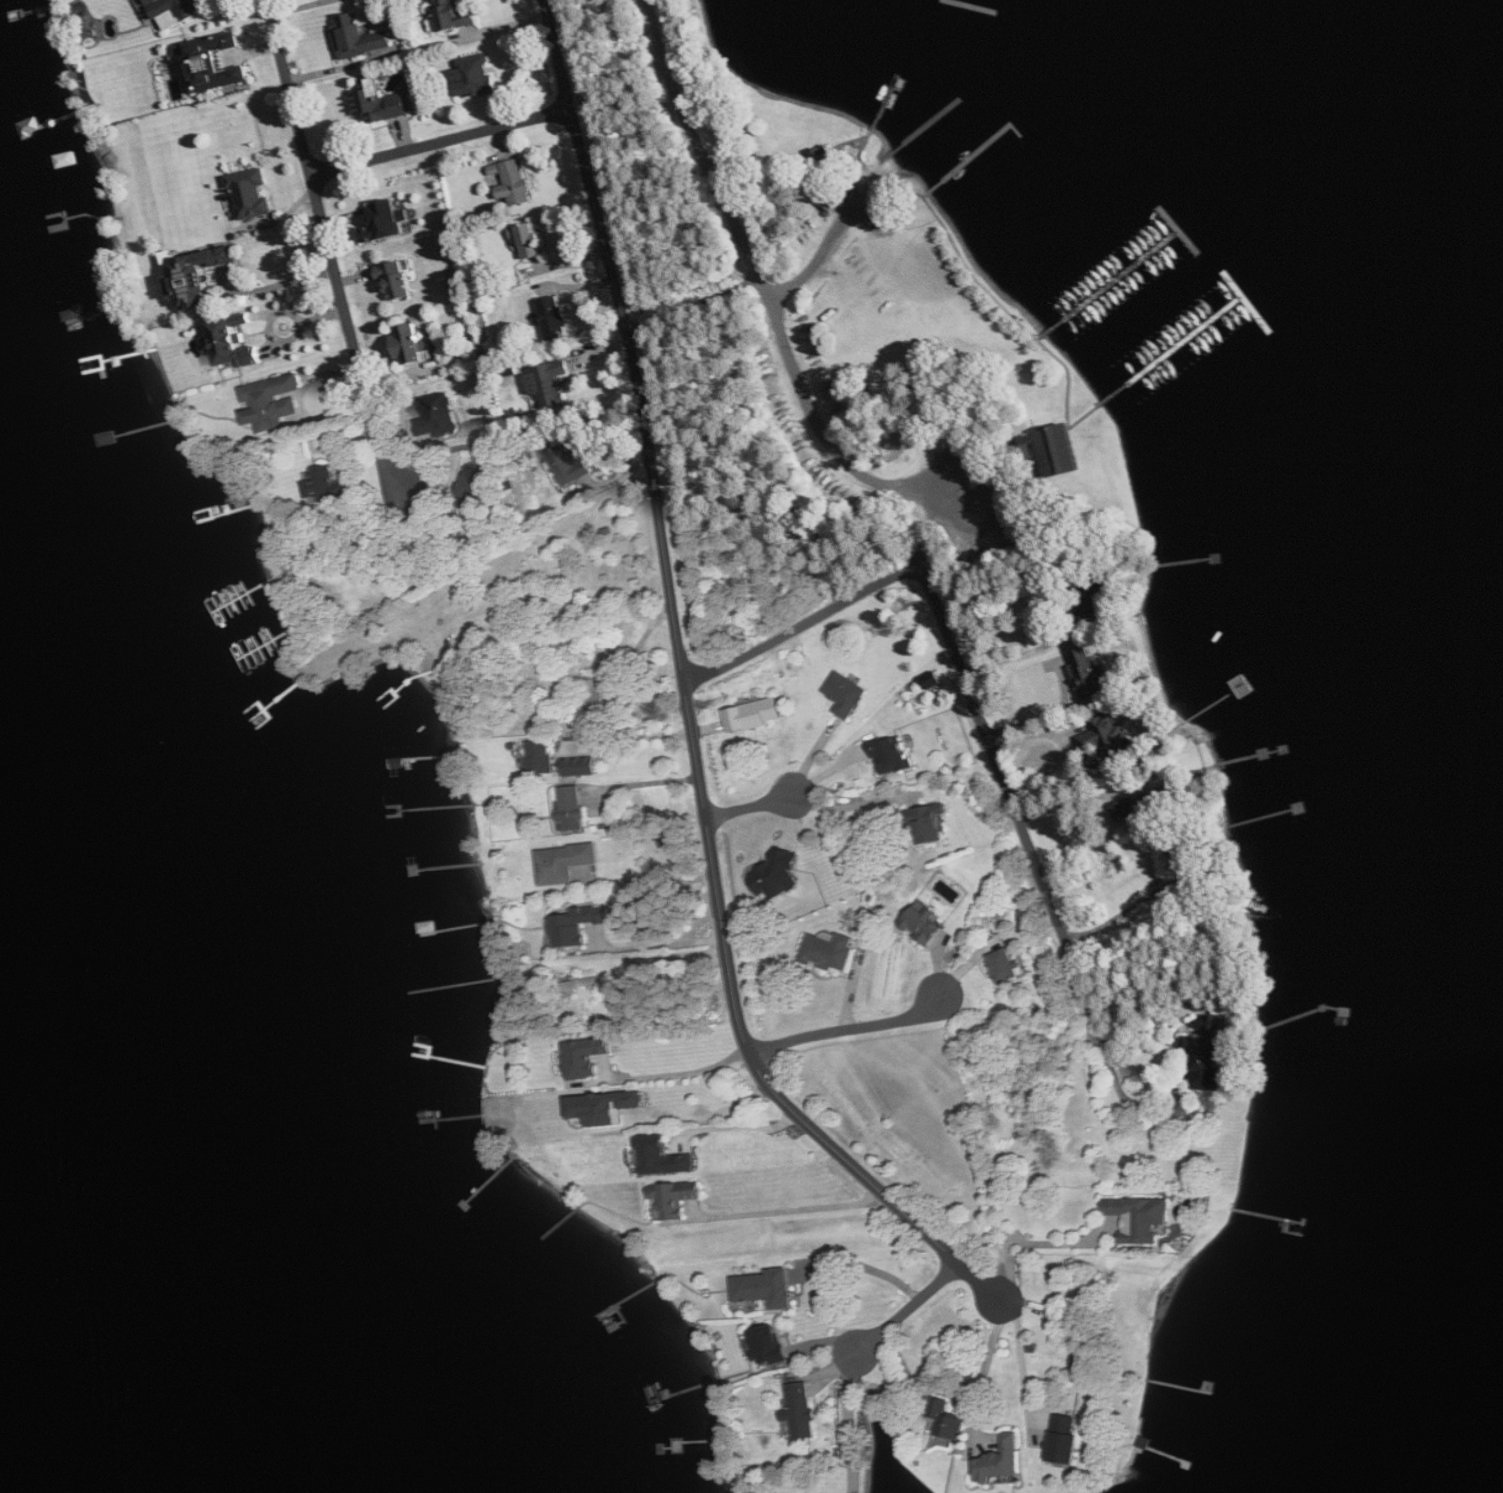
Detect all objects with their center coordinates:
pier: (969, 6)
building: (177, 11)
building: (459, 13)
building: (361, 36)
building: (215, 58)
building: (477, 74)
building: (383, 101)
pier: (885, 103)
pier: (929, 123)
road: (867, 140)
road: (441, 143)
pier: (975, 155)
building: (823, 157)
building: (518, 183)
building: (253, 192)
building: (834, 194)
road: (926, 194)
road: (869, 216)
building: (388, 218)
building: (530, 241)
road: (826, 247)
road: (329, 249)
road: (749, 253)
pier: (1133, 266)
building: (200, 276)
building: (400, 277)
road: (283, 282)
road: (688, 291)
road: (695, 309)
road: (1006, 309)
building: (555, 317)
pier: (1201, 330)
road: (1040, 338)
building: (234, 343)
building: (414, 344)
building: (550, 384)
building: (273, 401)
building: (444, 414)
road: (1084, 417)
road: (997, 431)
flagpole: (1111, 434)
road: (1029, 436)
building: (1054, 449)
road: (1031, 463)
building: (573, 464)
road: (1008, 474)
building: (334, 484)
road: (993, 519)
road: (927, 539)
road: (801, 625)
road: (1019, 653)
building: (607, 694)
building: (847, 694)
road: (687, 697)
building: (756, 714)
road: (1047, 714)
road: (632, 735)
building: (1107, 737)
building: (543, 748)
building: (895, 754)
road: (644, 783)
building: (1164, 798)
road: (1013, 801)
road: (750, 806)
road: (854, 806)
building: (574, 807)
building: (1124, 810)
building: (937, 824)
building: (597, 829)
building: (1183, 857)
building: (567, 863)
building: (784, 875)
building: (928, 921)
building: (431, 926)
building: (581, 930)
road: (657, 945)
building: (832, 951)
building: (1013, 966)
building: (1036, 1008)
road: (849, 1029)
building: (588, 1057)
road: (680, 1072)
building: (607, 1108)
road: (706, 1114)
road: (738, 1126)
building: (666, 1156)
building: (677, 1198)
road: (789, 1209)
building: (1133, 1218)
building: (1089, 1224)
building: (1048, 1233)
road: (1036, 1243)
road: (863, 1265)
building: (772, 1289)
road: (906, 1308)
building: (1087, 1333)
building: (772, 1348)
building: (1035, 1349)
road: (1023, 1355)
road: (987, 1372)
building: (1210, 1385)
building: (803, 1408)
building: (786, 1417)
building: (951, 1418)
road: (850, 1423)
building: (1068, 1442)
building: (1000, 1464)

